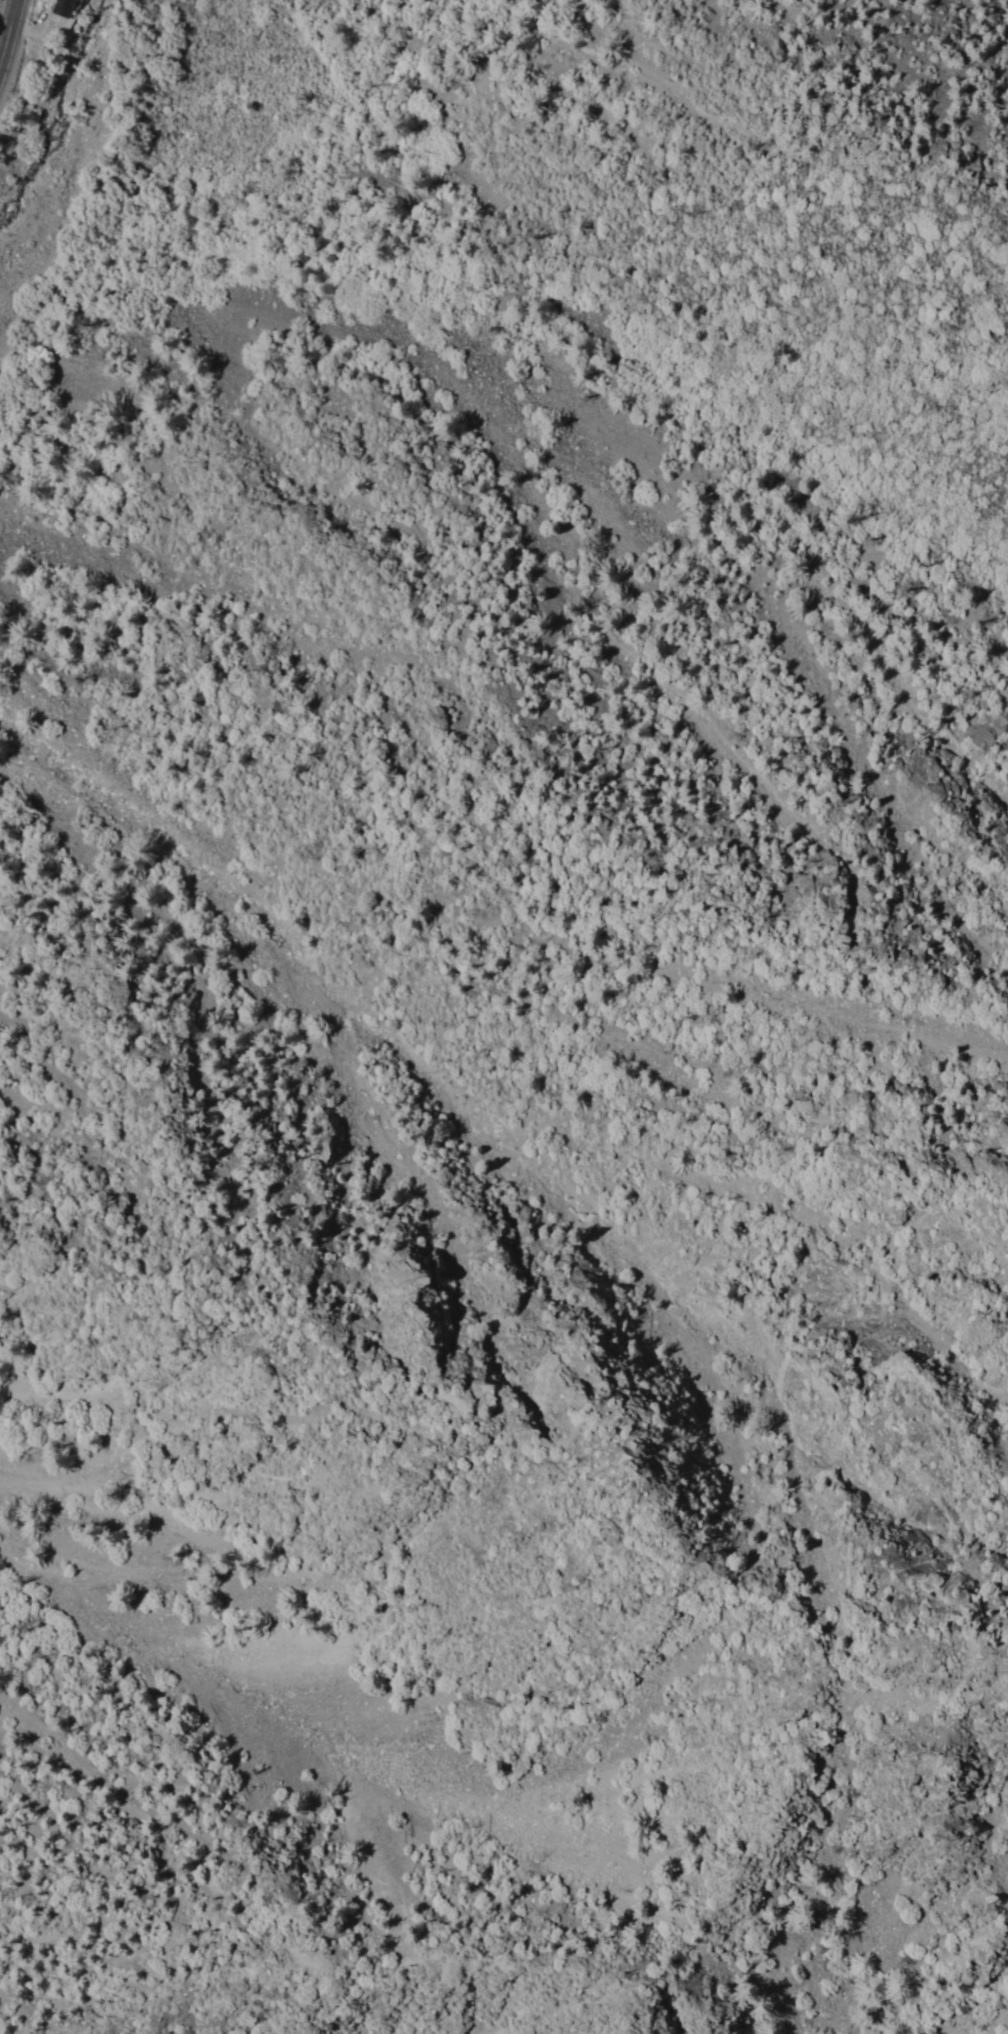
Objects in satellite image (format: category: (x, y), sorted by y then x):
building: (88, 0)
building: (55, 8)
building: (67, 8)
road: (10, 31)
road: (33, 32)

